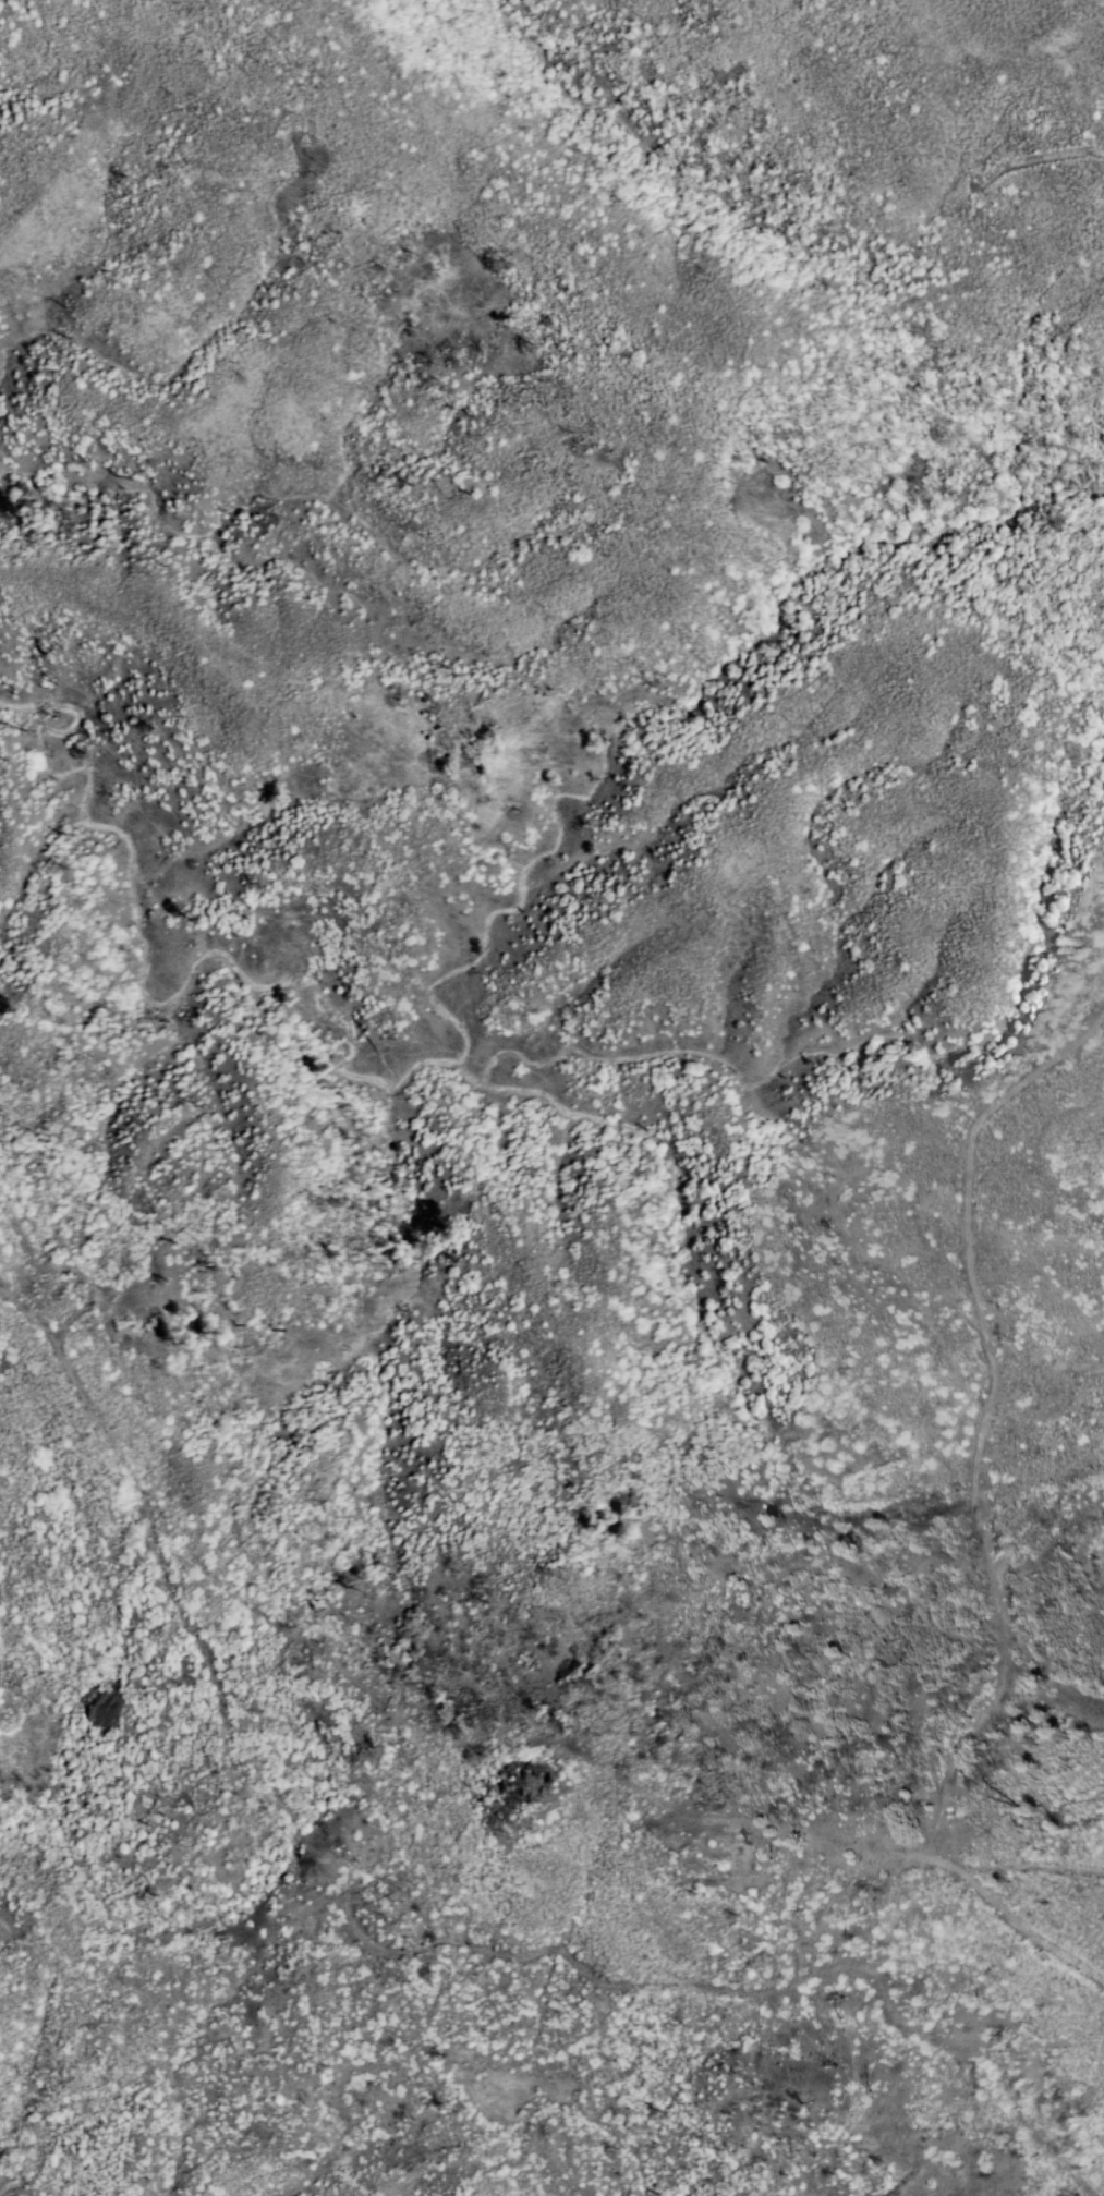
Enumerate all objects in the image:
road: (1097, 4)
road: (983, 1516)
road: (1026, 1865)
road: (391, 1951)

